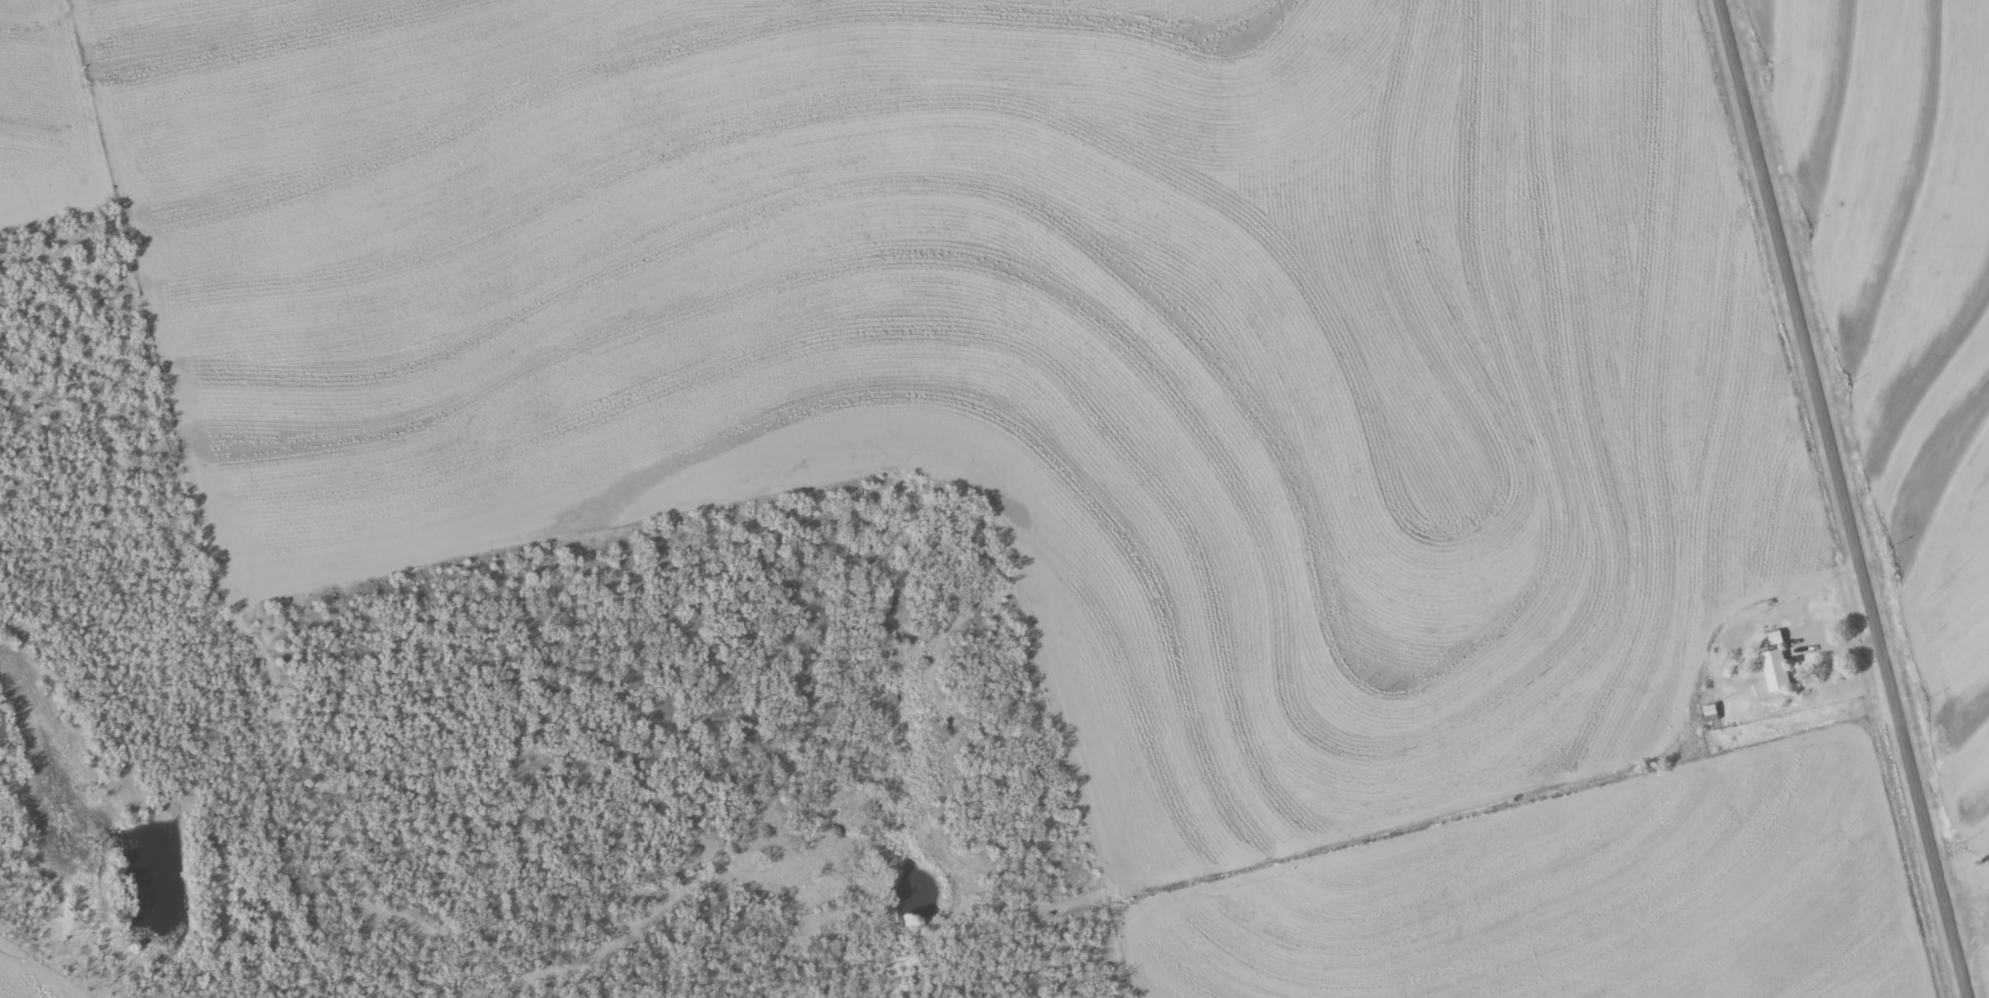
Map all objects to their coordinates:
road: (1840, 499)

